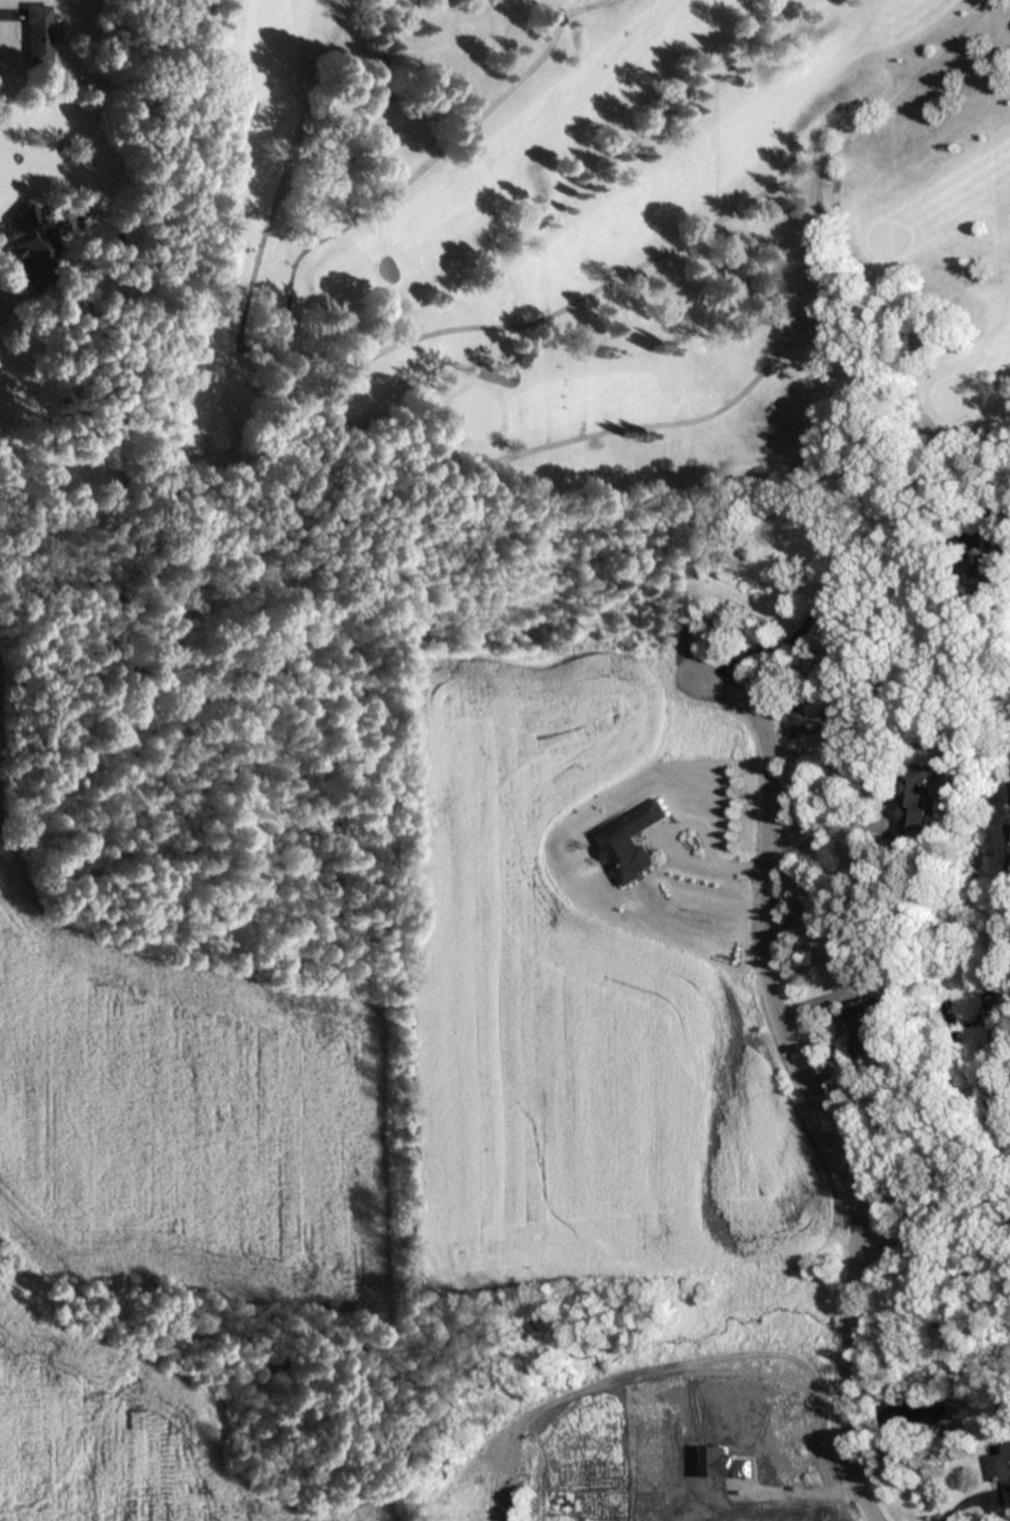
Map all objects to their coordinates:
building: (39, 34)
road: (904, 83)
road: (754, 197)
building: (33, 246)
park: (572, 277)
road: (289, 299)
road: (405, 482)
road: (855, 554)
building: (993, 567)
building: (917, 801)
building: (627, 844)
building: (864, 1030)
road: (806, 1087)
building: (1000, 1473)
road: (967, 1501)

